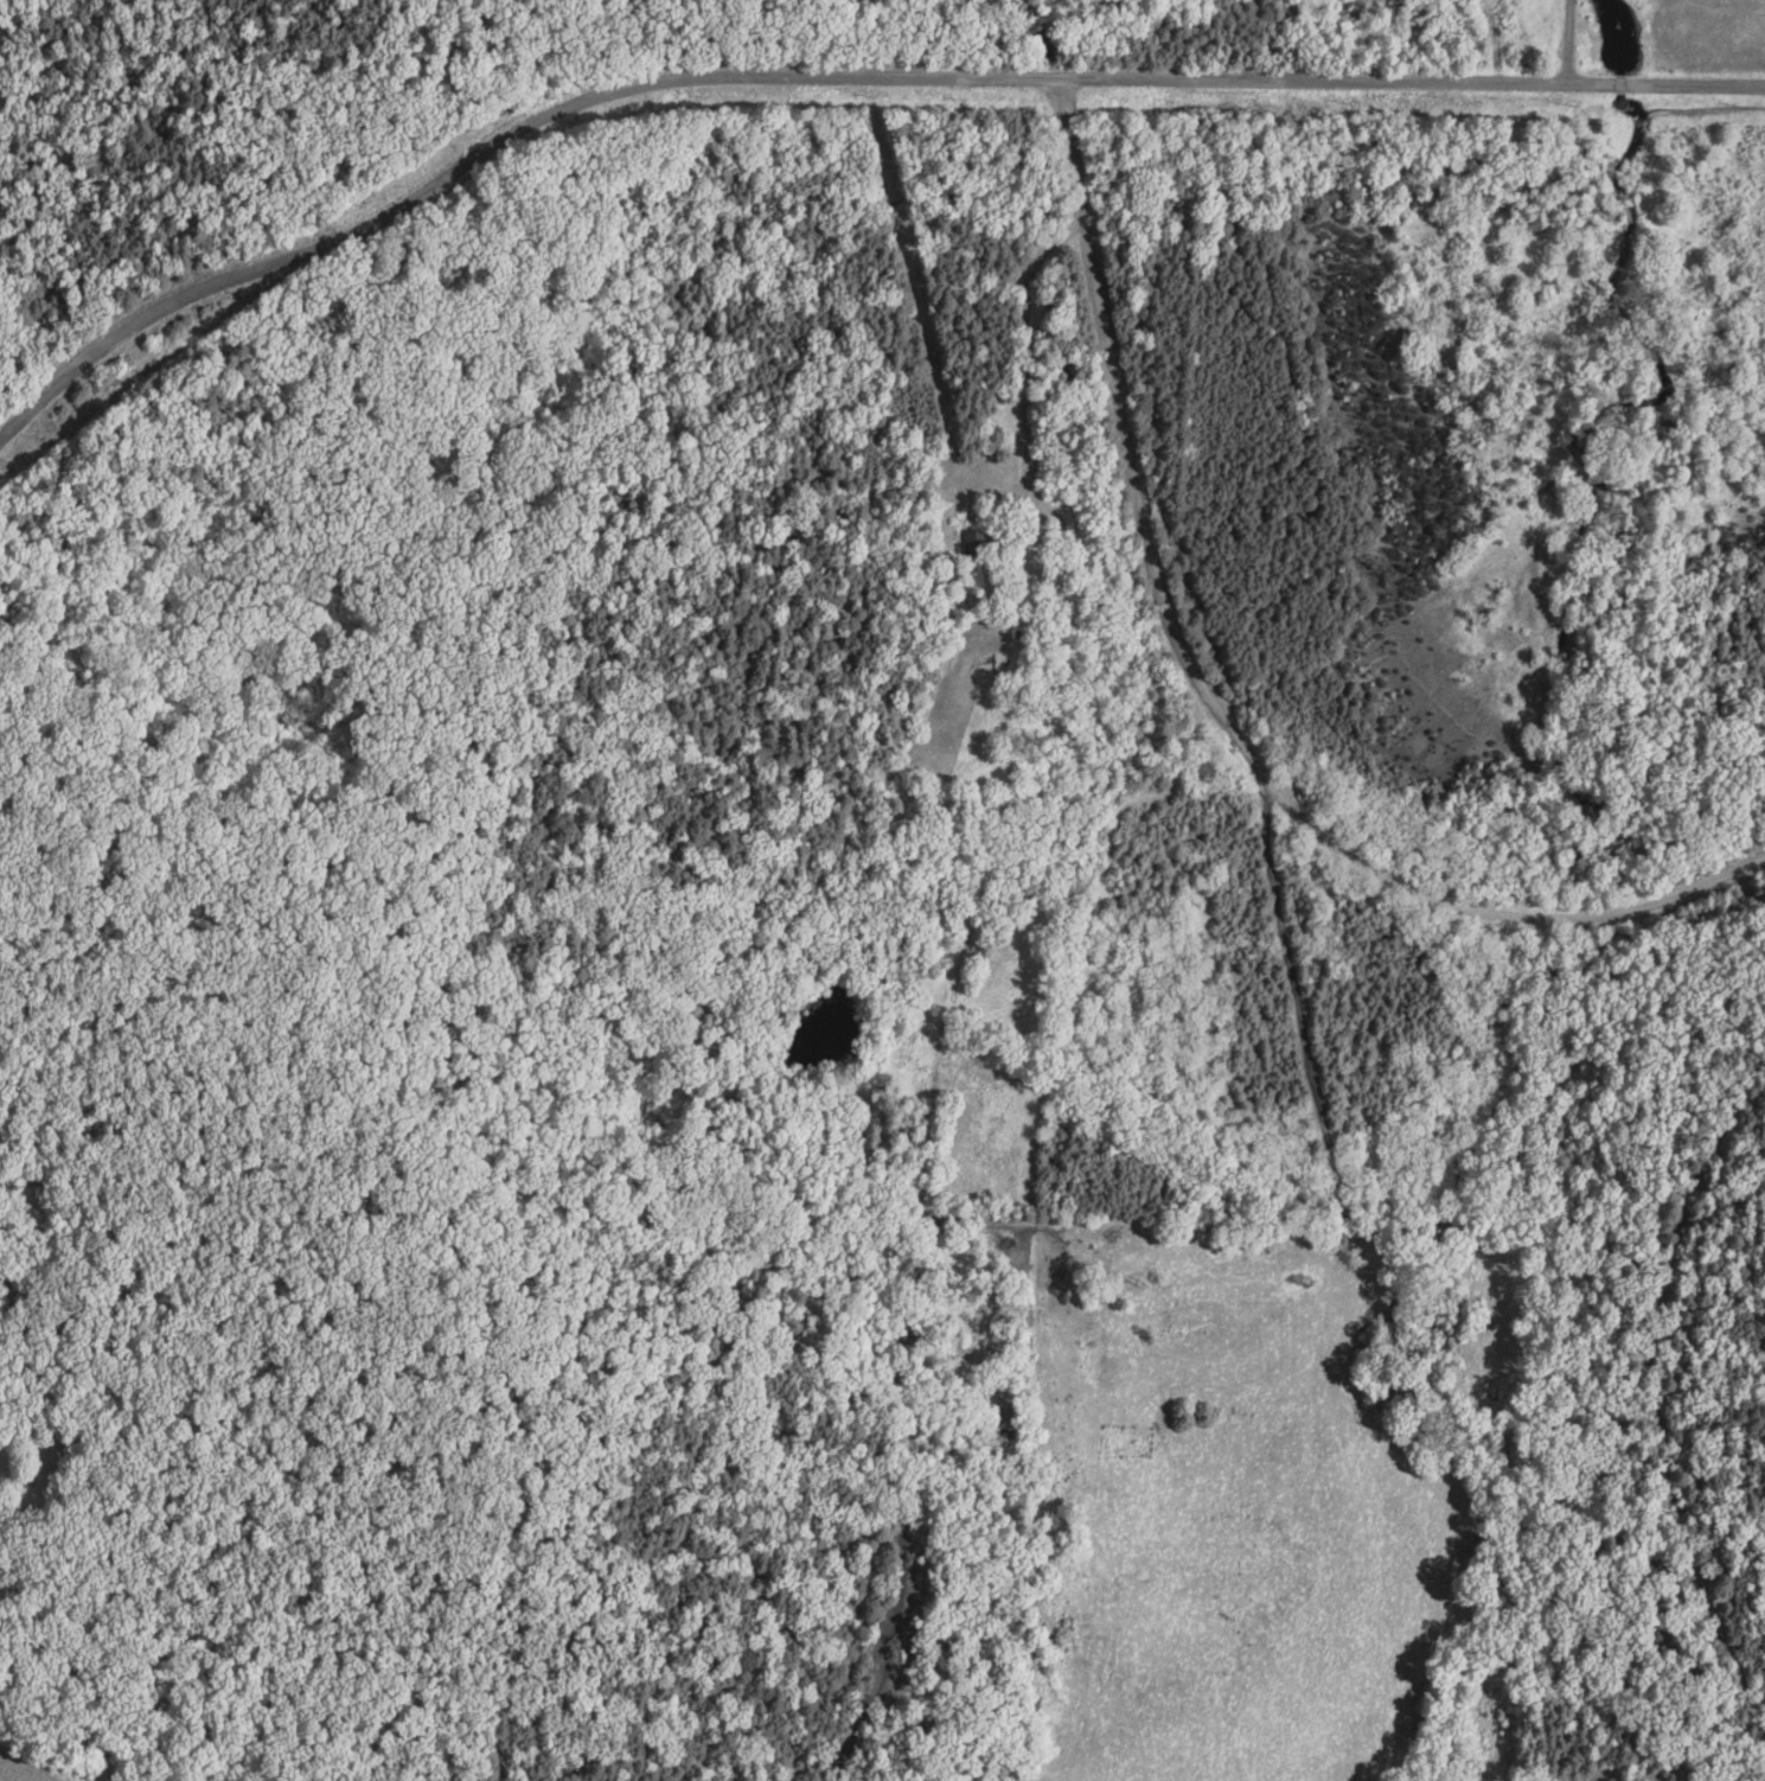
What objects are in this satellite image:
road: (1028, 83)
road: (1413, 85)
road: (467, 175)
road: (1024, 366)
building: (960, 576)
road: (1210, 704)
road: (1668, 1418)

